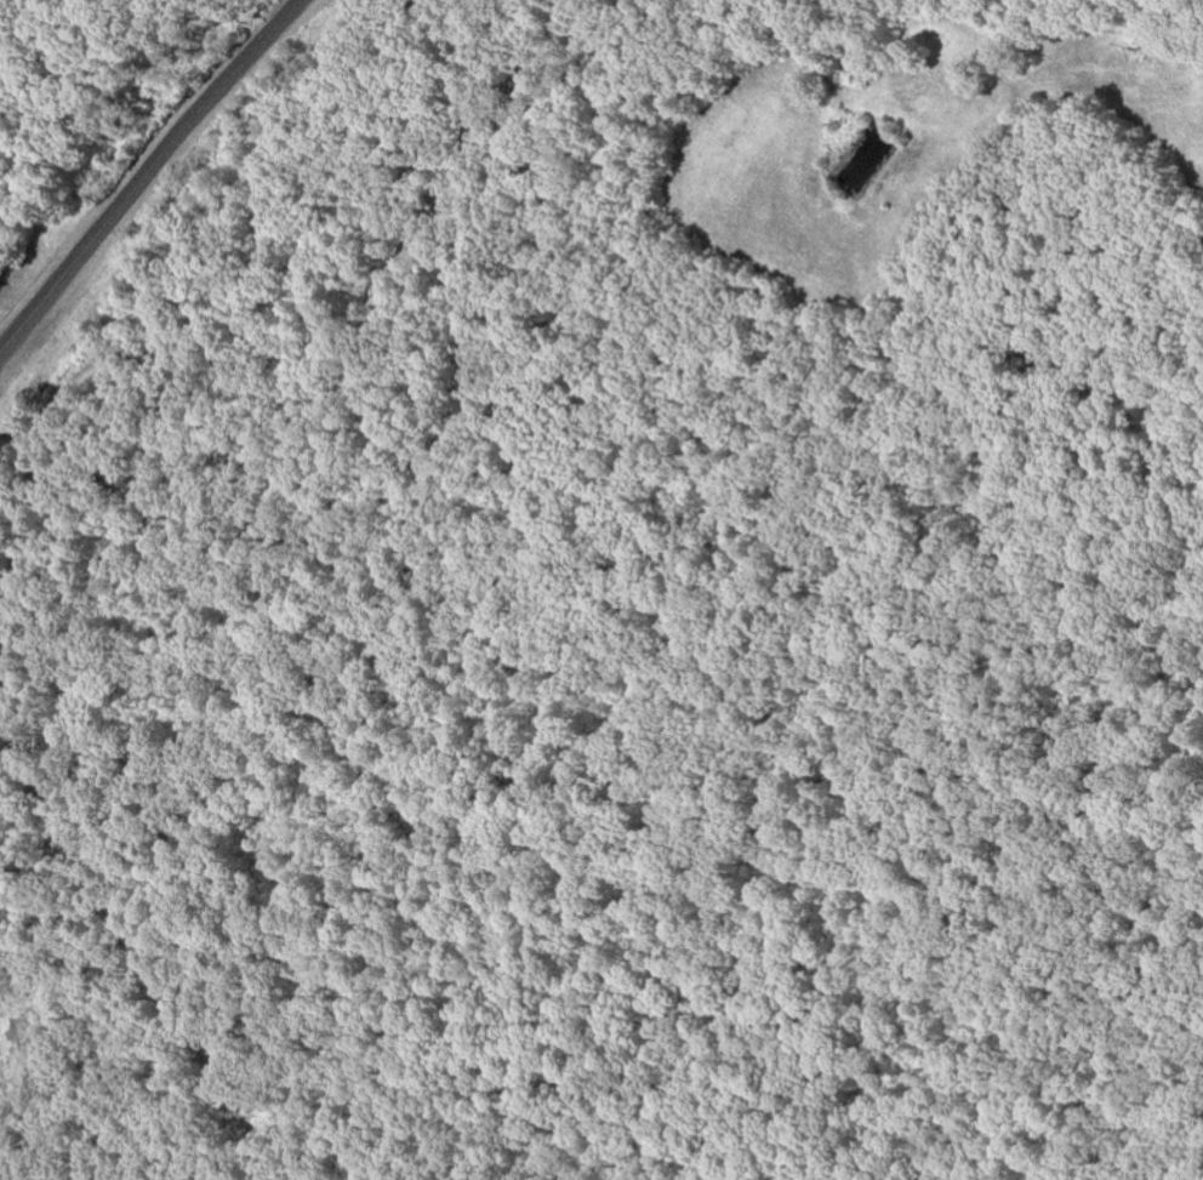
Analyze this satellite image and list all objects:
road: (152, 176)
road: (23, 433)
road: (40, 471)

